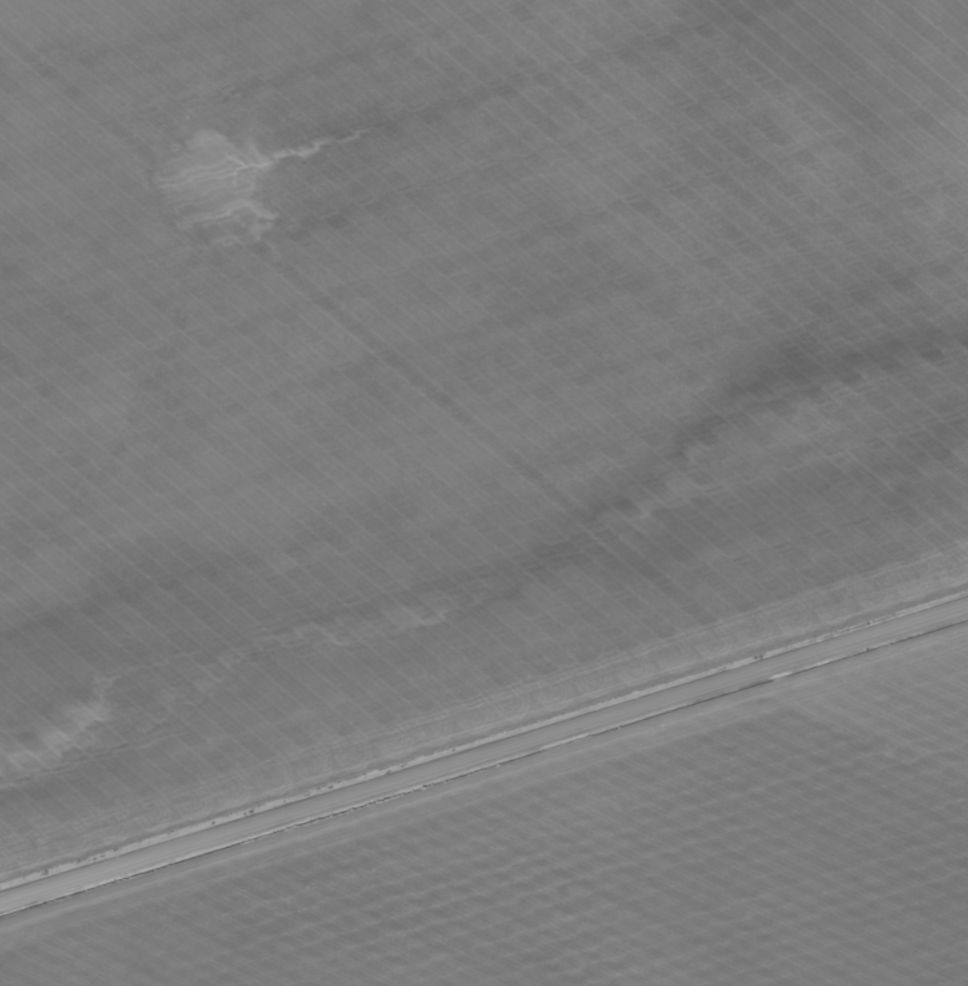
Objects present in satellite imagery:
road: (483, 752)

